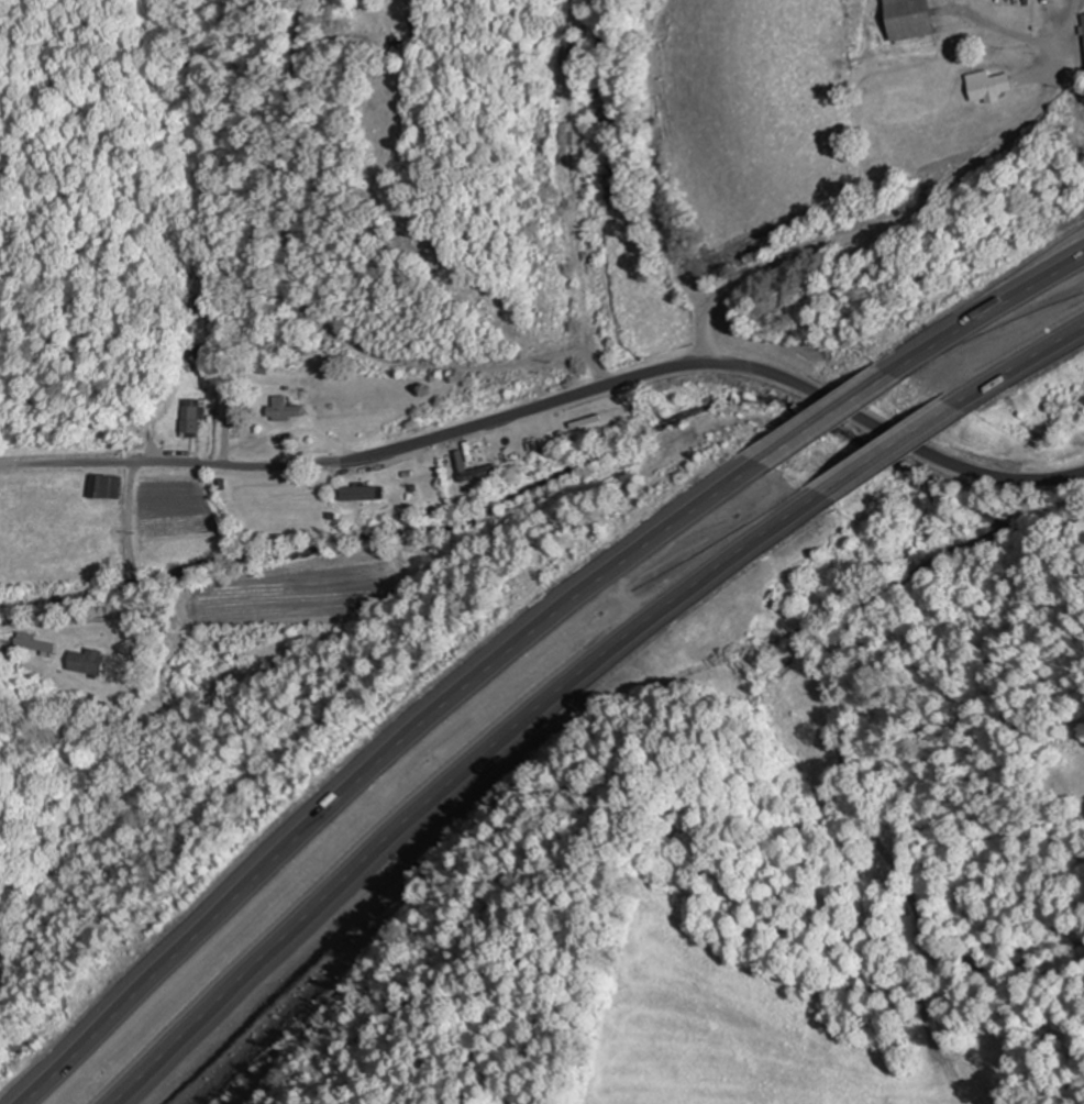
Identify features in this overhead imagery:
building: (1083, 14)
building: (909, 19)
building: (987, 85)
road: (877, 223)
road: (992, 308)
building: (190, 352)
road: (1025, 363)
road: (832, 408)
building: (283, 409)
building: (187, 418)
road: (422, 440)
road: (897, 444)
road: (949, 461)
building: (476, 471)
building: (102, 485)
building: (362, 493)
building: (32, 643)
building: (87, 661)
road: (111, 709)
road: (377, 762)
road: (457, 781)

